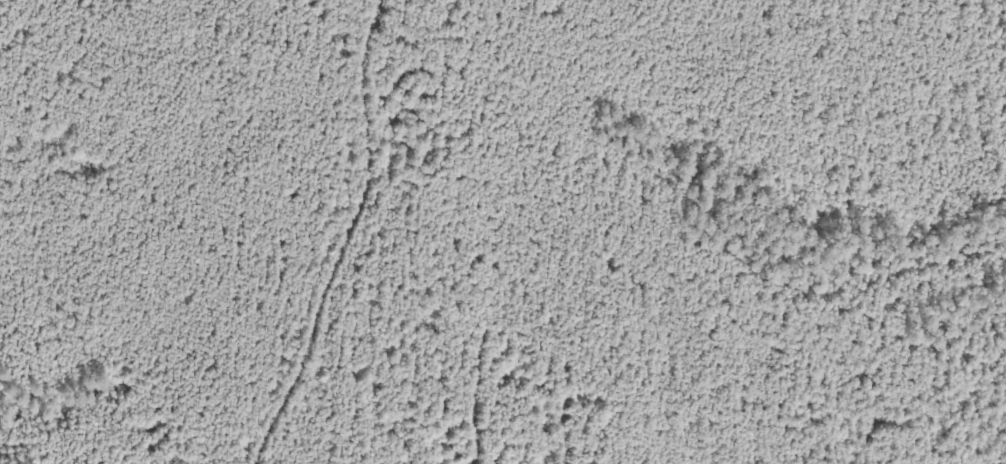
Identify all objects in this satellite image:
road: (303, 228)
road: (940, 412)

